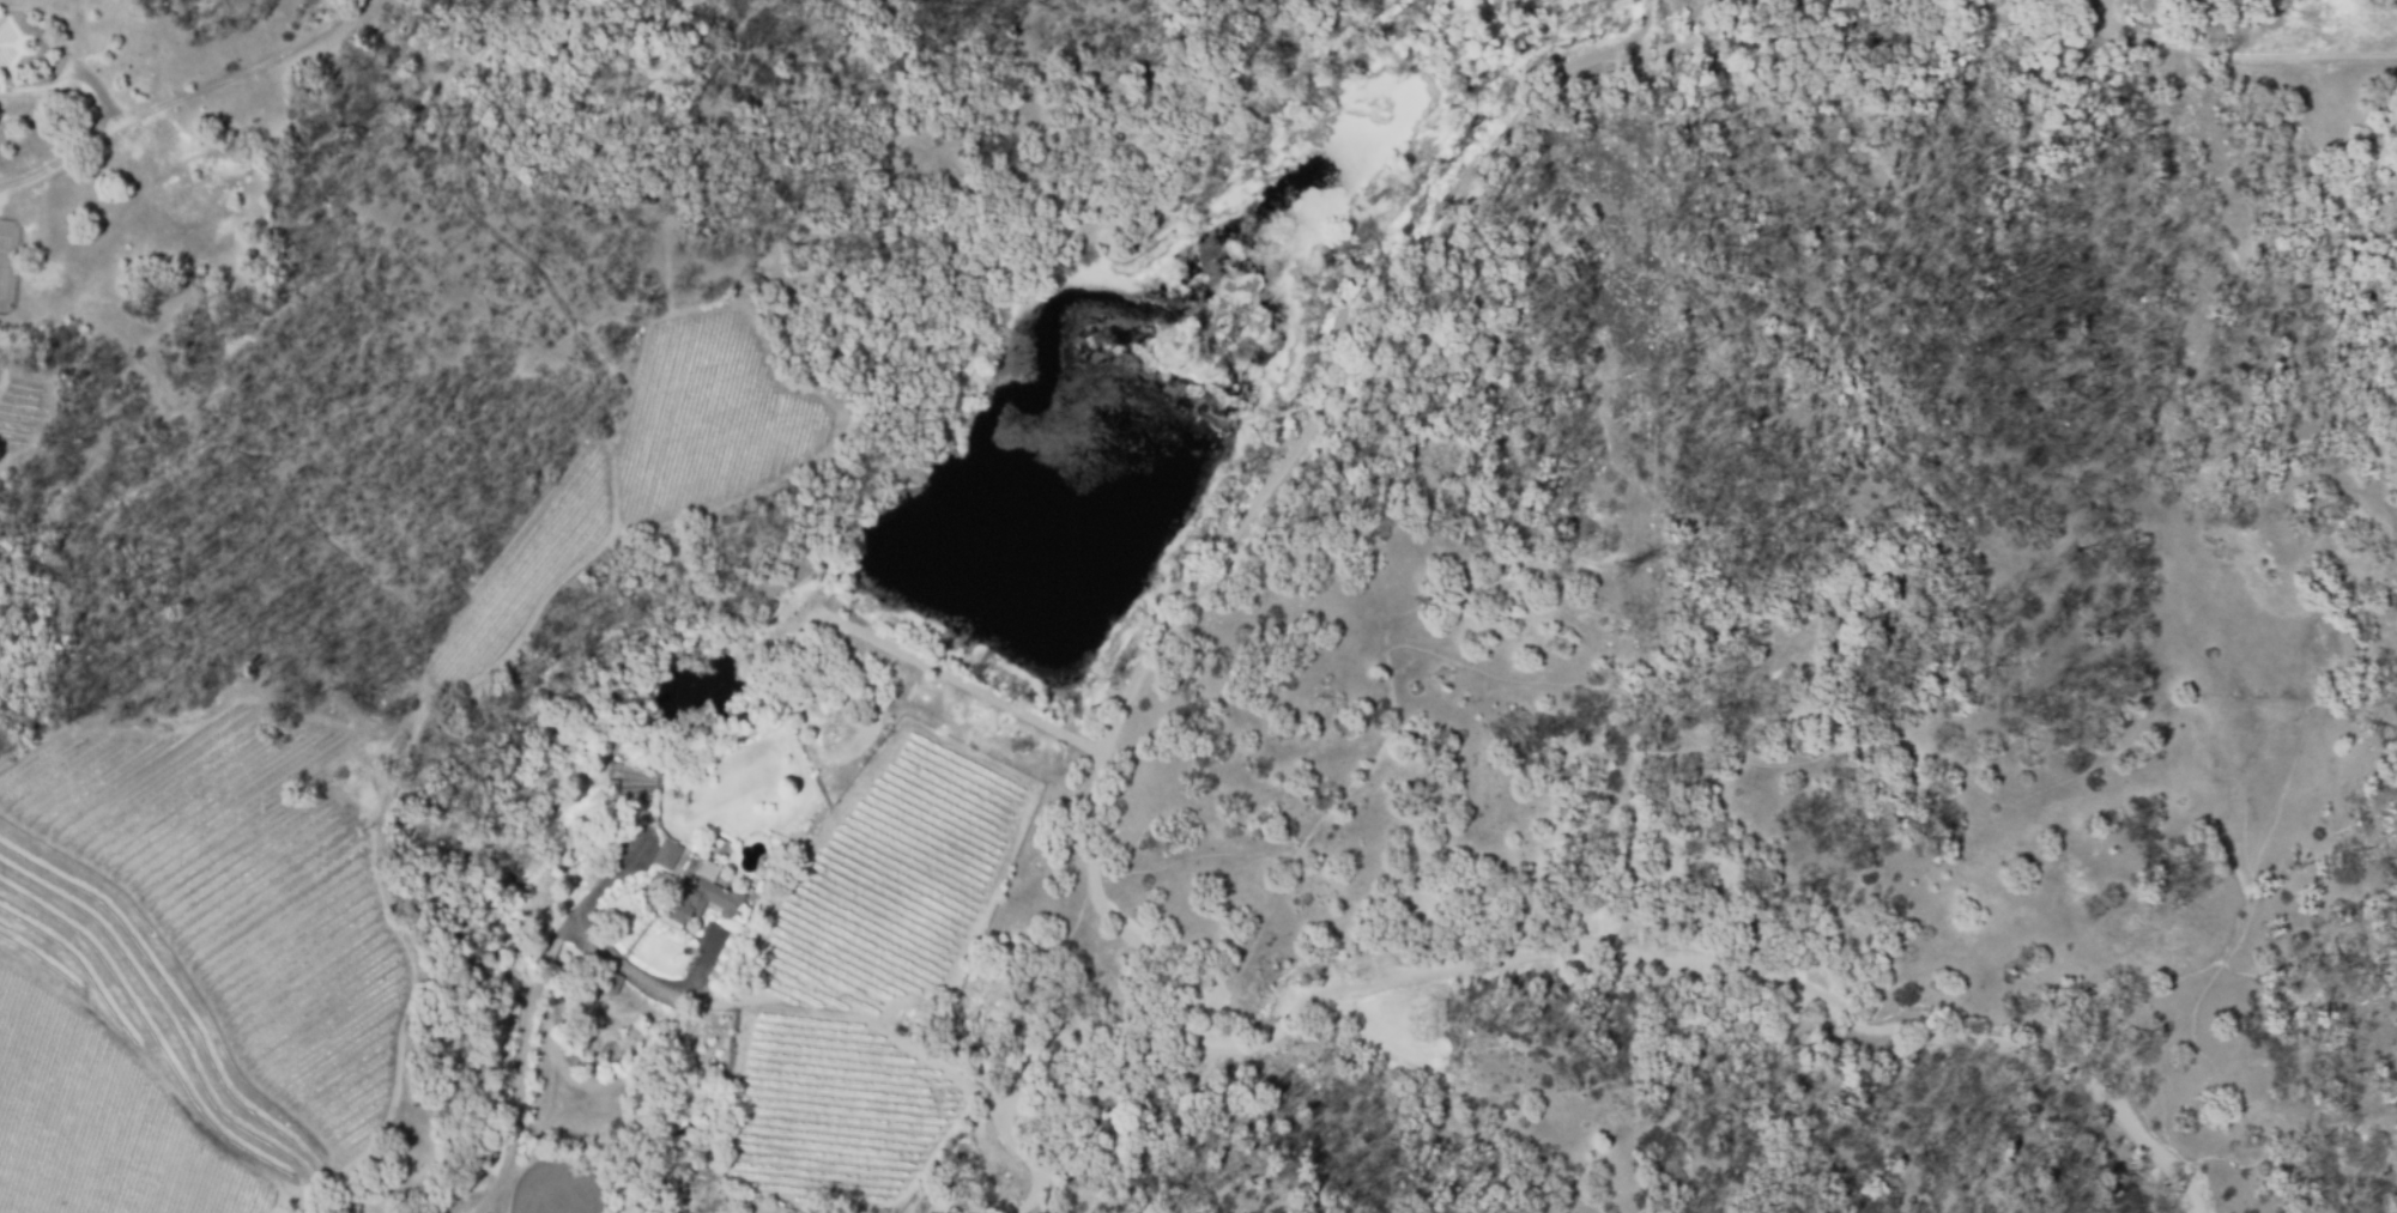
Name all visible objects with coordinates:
road: (86, 135)
park: (11, 253)
power tower: (1624, 576)
building: (615, 772)
building: (666, 855)
building: (700, 899)
building: (607, 982)
road: (526, 1045)
road: (1061, 1084)

